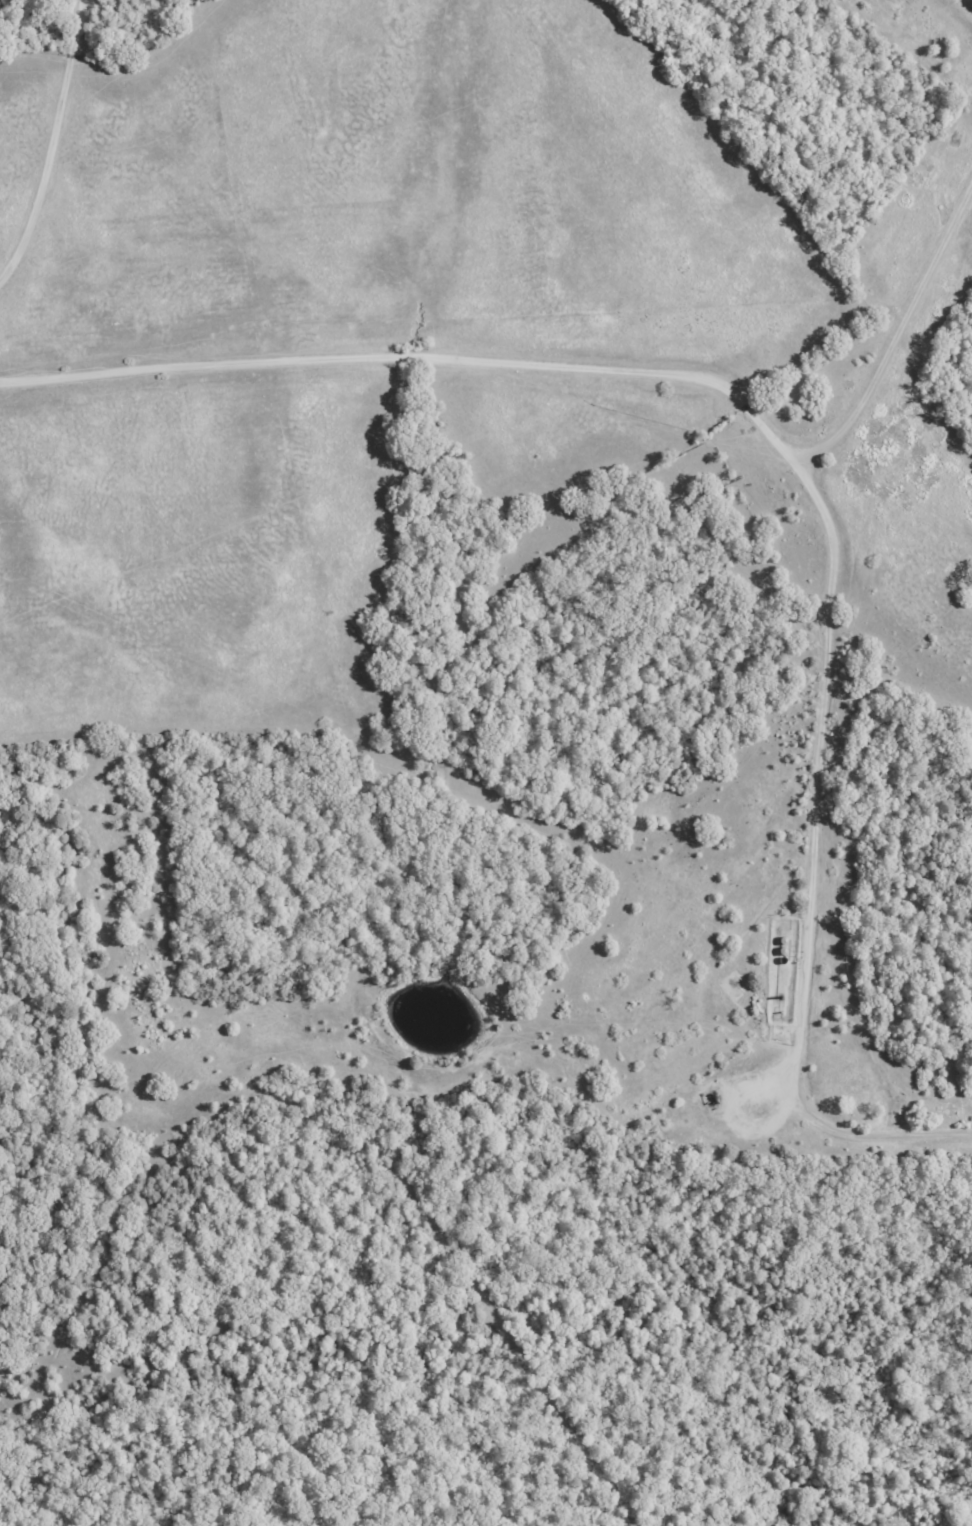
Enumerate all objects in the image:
petroleum well: (714, 1102)

